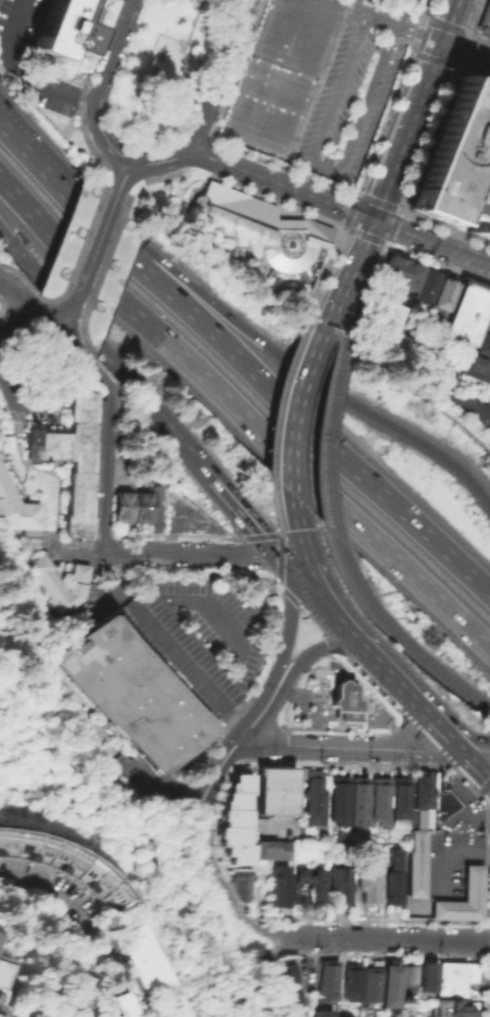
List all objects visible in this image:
building: (104, 0)
road: (383, 1)
road: (399, 7)
road: (424, 8)
building: (484, 14)
road: (194, 21)
road: (434, 21)
building: (61, 29)
road: (416, 34)
traffic signals: (441, 43)
road: (465, 52)
park: (161, 72)
road: (21, 73)
park: (282, 74)
road: (218, 75)
road: (99, 88)
road: (80, 92)
parking lot: (351, 92)
road: (415, 110)
road: (426, 138)
road: (312, 158)
road: (160, 160)
building: (456, 161)
road: (199, 168)
road: (107, 173)
road: (122, 176)
road: (122, 179)
road: (137, 181)
road: (237, 185)
road: (281, 185)
road: (132, 187)
road: (376, 200)
road: (347, 209)
traffic signals: (374, 220)
road: (339, 224)
road: (392, 226)
road: (441, 226)
building: (259, 227)
road: (360, 233)
road: (387, 241)
road: (383, 242)
road: (431, 242)
road: (360, 249)
road: (79, 252)
road: (94, 254)
road: (438, 262)
road: (98, 272)
road: (321, 273)
building: (398, 273)
road: (20, 276)
building: (423, 284)
building: (441, 293)
road: (2, 303)
road: (31, 303)
building: (489, 305)
road: (334, 307)
building: (465, 311)
road: (352, 315)
building: (486, 321)
road: (237, 322)
building: (388, 323)
road: (11, 324)
road: (65, 325)
road: (33, 330)
building: (483, 344)
road: (78, 348)
road: (101, 349)
road: (83, 359)
road: (242, 360)
building: (473, 367)
road: (385, 368)
building: (437, 372)
road: (303, 383)
road: (278, 395)
road: (3, 402)
road: (14, 403)
road: (480, 409)
road: (243, 413)
road: (326, 444)
building: (71, 458)
road: (291, 463)
road: (106, 466)
road: (42, 469)
building: (144, 501)
road: (273, 503)
building: (122, 506)
building: (18, 507)
road: (245, 518)
road: (171, 521)
road: (292, 526)
road: (200, 552)
road: (79, 553)
road: (278, 557)
traffic signals: (296, 560)
road: (114, 574)
building: (64, 583)
road: (286, 621)
road: (349, 631)
road: (399, 636)
road: (313, 651)
road: (171, 655)
building: (132, 692)
building: (343, 701)
road: (429, 715)
road: (235, 723)
road: (408, 727)
road: (467, 738)
road: (454, 744)
road: (313, 746)
road: (423, 755)
road: (224, 760)
road: (469, 760)
building: (137, 773)
road: (483, 773)
building: (441, 776)
road: (163, 781)
building: (430, 785)
building: (272, 789)
building: (423, 789)
building: (414, 791)
road: (467, 798)
building: (315, 799)
building: (339, 799)
building: (379, 799)
building: (359, 800)
building: (401, 802)
building: (435, 809)
building: (235, 818)
building: (266, 848)
road: (447, 856)
building: (416, 862)
building: (66, 871)
building: (396, 879)
road: (228, 880)
building: (470, 880)
building: (342, 884)
building: (246, 885)
building: (307, 885)
building: (280, 888)
building: (369, 888)
road: (55, 901)
building: (1, 918)
road: (230, 932)
road: (73, 934)
building: (1, 936)
road: (366, 937)
building: (150, 960)
building: (7, 962)
road: (127, 975)
building: (427, 975)
building: (408, 977)
building: (455, 978)
building: (352, 981)
building: (372, 982)
building: (390, 984)
building: (325, 987)
building: (292, 990)
building: (444, 1003)
building: (457, 1006)
building: (129, 1008)
building: (471, 1008)
building: (177, 1009)
building: (458, 1011)
road: (4, 1012)

